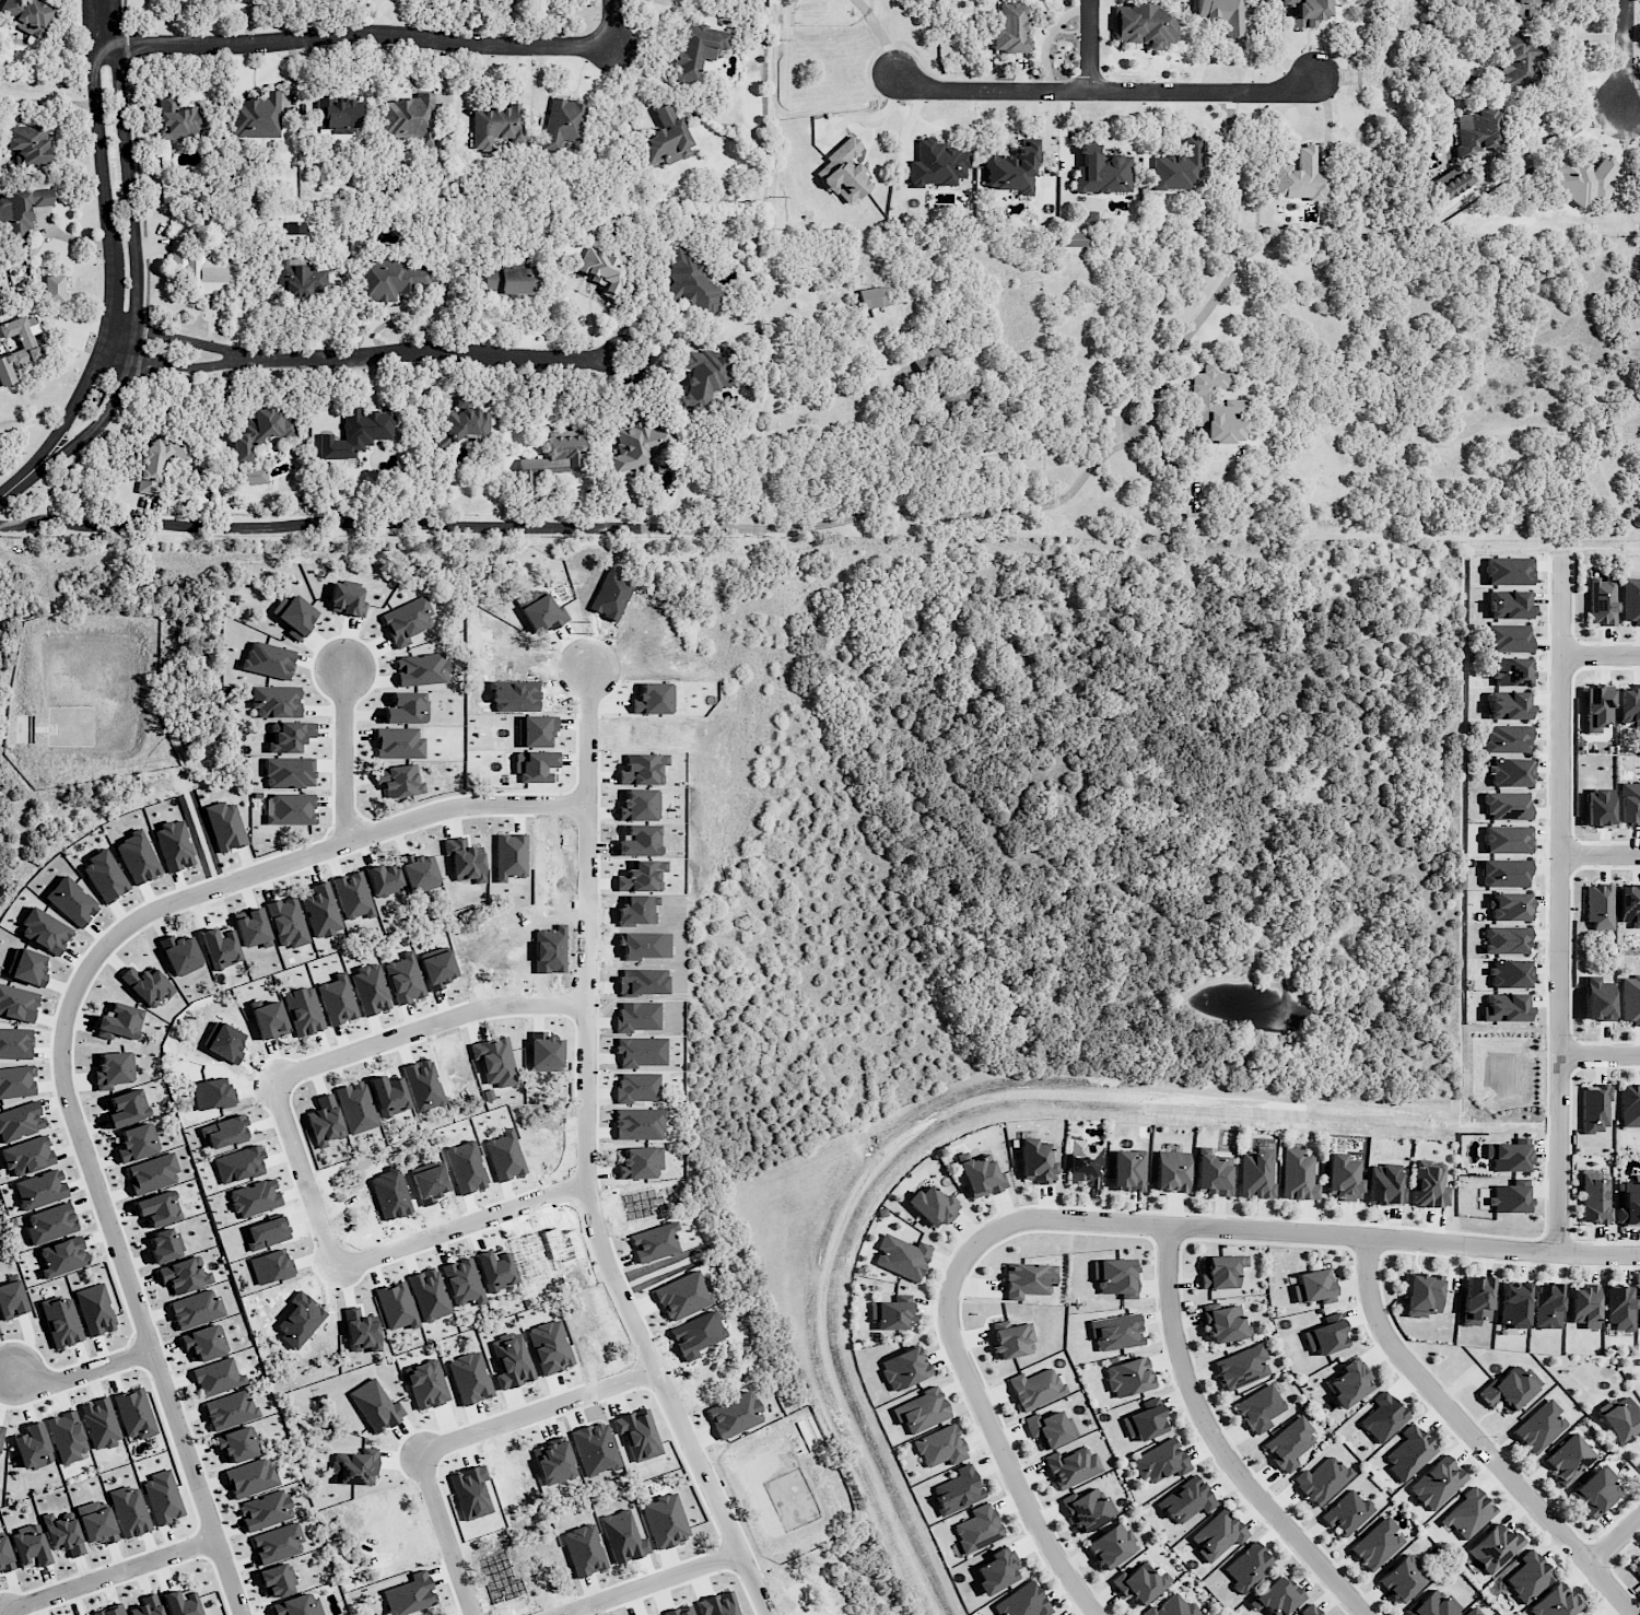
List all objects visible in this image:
building: (1521, 9)
building: (1307, 11)
building: (26, 14)
building: (1222, 14)
road: (613, 23)
building: (1143, 25)
building: (1010, 28)
road: (351, 35)
road: (1089, 46)
building: (696, 49)
road: (1621, 50)
building: (1519, 59)
road: (1105, 93)
building: (339, 114)
building: (256, 116)
building: (411, 117)
building: (177, 119)
building: (563, 122)
building: (495, 126)
building: (1476, 130)
road: (1554, 131)
building: (666, 138)
building: (28, 143)
building: (936, 164)
building: (1179, 168)
building: (1010, 169)
building: (1101, 172)
building: (843, 173)
building: (1299, 177)
building: (1580, 179)
building: (1637, 180)
building: (1450, 182)
building: (20, 210)
building: (295, 227)
building: (1073, 238)
road: (107, 241)
road: (133, 251)
building: (199, 267)
building: (602, 271)
building: (393, 278)
building: (297, 279)
building: (504, 280)
building: (691, 283)
building: (54, 288)
building: (871, 297)
road: (179, 340)
building: (24, 352)
road: (424, 352)
building: (928, 361)
road: (174, 366)
road: (641, 368)
building: (702, 377)
road: (1124, 403)
building: (1214, 406)
road: (1139, 425)
building: (259, 432)
building: (356, 432)
building: (636, 445)
building: (551, 459)
building: (159, 460)
building: (251, 475)
road: (20, 481)
road: (406, 523)
building: (1508, 571)
building: (345, 600)
building: (1630, 600)
building: (1601, 601)
building: (1508, 605)
building: (296, 616)
building: (407, 620)
building: (1507, 637)
road: (1600, 654)
building: (268, 659)
building: (421, 669)
building: (1511, 671)
building: (276, 701)
building: (1629, 703)
building: (1508, 705)
building: (406, 707)
building: (1597, 709)
building: (290, 736)
building: (1506, 739)
building: (398, 742)
road: (344, 753)
building: (289, 772)
building: (1510, 772)
building: (399, 781)
building: (1628, 804)
building: (1507, 805)
building: (1597, 807)
building: (290, 809)
building: (224, 826)
building: (1507, 839)
building: (173, 845)
road: (1600, 850)
building: (418, 871)
building: (1504, 873)
building: (104, 876)
building: (383, 880)
building: (351, 896)
building: (71, 901)
building: (1628, 903)
road: (1558, 904)
building: (1509, 906)
building: (1598, 906)
building: (319, 910)
building: (286, 922)
building: (44, 931)
building: (1506, 939)
building: (220, 947)
building: (28, 968)
building: (1509, 973)
building: (149, 985)
building: (1597, 998)
building: (1630, 999)
building: (16, 1003)
building: (1503, 1007)
road: (421, 1025)
road: (63, 1032)
building: (15, 1043)
road: (1598, 1054)
building: (113, 1068)
building: (16, 1081)
building: (1629, 1105)
building: (126, 1108)
building: (1594, 1108)
building: (20, 1121)
building: (137, 1142)
building: (1508, 1155)
building: (26, 1156)
road: (583, 1159)
building: (1035, 1161)
building: (1085, 1163)
building: (1127, 1170)
building: (1171, 1171)
building: (152, 1172)
building: (1256, 1172)
road: (300, 1173)
building: (1213, 1174)
building: (981, 1175)
building: (1297, 1175)
building: (1342, 1178)
building: (1384, 1184)
building: (1429, 1184)
building: (39, 1189)
building: (1594, 1196)
building: (1508, 1198)
building: (1629, 1201)
building: (932, 1206)
building: (157, 1209)
road: (1097, 1221)
building: (50, 1222)
road: (460, 1225)
building: (163, 1244)
building: (61, 1256)
building: (901, 1256)
building: (1220, 1271)
building: (184, 1275)
building: (1114, 1276)
building: (1026, 1279)
building: (1313, 1286)
building: (1421, 1294)
building: (681, 1296)
building: (11, 1299)
building: (1475, 1299)
building: (1513, 1303)
building: (1546, 1306)
building: (1583, 1306)
building: (1619, 1307)
building: (195, 1309)
building: (1639, 1309)
building: (890, 1314)
building: (60, 1321)
building: (1222, 1323)
building: (1115, 1332)
building: (1326, 1337)
building: (1011, 1341)
building: (203, 1342)
building: (549, 1347)
building: (511, 1361)
building: (1241, 1366)
building: (903, 1368)
road: (81, 1372)
building: (216, 1377)
building: (1127, 1377)
building: (1349, 1382)
building: (425, 1384)
building: (1034, 1389)
building: (1507, 1390)
building: (375, 1405)
building: (1258, 1408)
building: (229, 1409)
road: (538, 1409)
building: (921, 1411)
building: (133, 1414)
building: (733, 1414)
building: (1383, 1417)
building: (1619, 1418)
building: (1146, 1420)
building: (99, 1423)
building: (1538, 1426)
building: (1046, 1429)
building: (66, 1436)
road: (1475, 1438)
road: (1217, 1443)
building: (1289, 1443)
building: (237, 1444)
building: (32, 1447)
building: (940, 1447)
building: (1408, 1452)
building: (1568, 1459)
building: (1160, 1461)
building: (1070, 1466)
building: (354, 1467)
building: (250, 1477)
building: (1321, 1479)
building: (1436, 1483)
building: (957, 1489)
building: (1594, 1491)
building: (162, 1497)
building: (1185, 1500)
building: (1087, 1508)
building: (265, 1510)
building: (129, 1511)
building: (1346, 1512)
building: (1467, 1513)
building: (664, 1520)
building: (97, 1524)
building: (976, 1529)
road: (446, 1532)
building: (62, 1534)
building: (1217, 1534)
road: (1615, 1541)
building: (277, 1543)
building: (1375, 1543)
building: (1110, 1545)
building: (30, 1546)
building: (1493, 1547)
building: (4, 1554)
building: (1247, 1566)
building: (1637, 1568)
building: (996, 1570)
road: (105, 1576)
building: (1403, 1577)
building: (1527, 1577)
building: (276, 1580)
building: (1139, 1582)
road: (644, 1583)
building: (409, 1594)
building: (1275, 1596)
building: (1022, 1602)
building: (1554, 1602)
building: (180, 1603)
building: (1432, 1604)
building: (147, 1605)
building: (296, 1605)
building: (1172, 1607)
building: (110, 1611)
building: (1309, 1611)
building: (1472, 1612)
building: (86, 1614)
building: (1207, 1614)
building: (1588, 1614)

